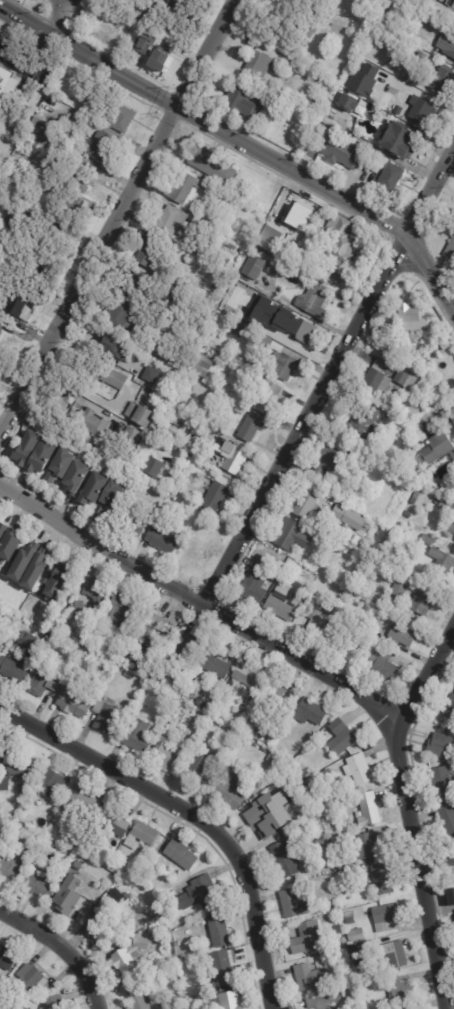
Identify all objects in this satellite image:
building: (177, 0)
building: (421, 0)
building: (376, 1)
building: (157, 14)
road: (56, 17)
building: (307, 25)
building: (445, 45)
building: (153, 48)
building: (421, 58)
building: (158, 61)
building: (258, 63)
building: (4, 78)
building: (363, 79)
building: (437, 79)
building: (330, 85)
building: (380, 91)
building: (245, 101)
building: (346, 102)
building: (299, 103)
building: (321, 103)
building: (359, 109)
building: (421, 110)
building: (120, 117)
building: (327, 122)
building: (41, 125)
building: (18, 132)
building: (398, 139)
road: (243, 142)
building: (45, 143)
building: (101, 146)
building: (339, 152)
building: (210, 164)
building: (388, 178)
building: (180, 186)
building: (80, 195)
building: (222, 204)
road: (116, 214)
building: (291, 216)
building: (213, 220)
building: (13, 221)
building: (168, 222)
building: (254, 234)
building: (183, 241)
building: (340, 241)
building: (196, 248)
building: (450, 249)
building: (147, 251)
building: (299, 266)
building: (252, 268)
building: (53, 270)
building: (322, 272)
building: (133, 284)
building: (17, 301)
building: (311, 301)
building: (283, 313)
building: (120, 315)
building: (410, 318)
building: (230, 322)
building: (1, 325)
building: (237, 329)
building: (298, 333)
building: (154, 342)
building: (262, 344)
building: (113, 347)
building: (403, 347)
building: (200, 366)
building: (281, 368)
building: (106, 375)
building: (150, 375)
road: (329, 376)
building: (376, 379)
building: (404, 380)
road: (82, 387)
building: (265, 394)
building: (132, 408)
building: (451, 415)
building: (140, 417)
building: (90, 423)
building: (363, 423)
building: (250, 427)
building: (405, 427)
building: (129, 438)
building: (401, 446)
building: (23, 448)
building: (435, 450)
building: (41, 455)
building: (452, 457)
building: (234, 459)
building: (331, 460)
building: (58, 465)
building: (153, 467)
building: (74, 477)
building: (145, 480)
building: (176, 482)
building: (91, 488)
building: (108, 496)
building: (214, 496)
building: (179, 501)
building: (443, 504)
building: (305, 506)
building: (407, 514)
building: (347, 517)
building: (131, 523)
building: (2, 527)
building: (449, 529)
building: (288, 535)
building: (427, 540)
building: (162, 541)
building: (7, 544)
building: (197, 556)
building: (441, 562)
building: (19, 563)
building: (33, 571)
building: (59, 579)
building: (253, 585)
building: (398, 590)
building: (95, 594)
road: (200, 602)
building: (281, 602)
building: (418, 605)
building: (74, 608)
building: (120, 609)
building: (94, 618)
building: (390, 618)
building: (317, 620)
building: (151, 626)
building: (355, 628)
building: (22, 630)
building: (98, 630)
building: (400, 637)
building: (335, 639)
building: (29, 641)
building: (91, 643)
building: (186, 646)
building: (77, 648)
building: (0, 650)
building: (84, 654)
building: (214, 664)
building: (381, 666)
building: (141, 669)
building: (11, 671)
building: (127, 676)
building: (246, 676)
building: (191, 681)
building: (43, 682)
building: (453, 687)
building: (453, 689)
building: (186, 690)
building: (272, 695)
building: (70, 704)
building: (449, 707)
building: (309, 714)
building: (103, 716)
building: (134, 736)
building: (340, 738)
building: (257, 739)
building: (255, 746)
building: (441, 748)
building: (263, 750)
building: (168, 751)
building: (2, 758)
building: (271, 758)
building: (195, 767)
building: (357, 770)
building: (20, 773)
building: (303, 774)
building: (440, 782)
building: (50, 785)
building: (228, 792)
building: (79, 803)
building: (367, 810)
road: (410, 811)
road: (193, 812)
building: (268, 815)
building: (446, 818)
building: (112, 822)
building: (20, 829)
building: (80, 833)
building: (140, 836)
building: (74, 844)
building: (319, 844)
building: (370, 847)
building: (179, 855)
building: (285, 857)
road: (436, 858)
building: (12, 865)
building: (80, 879)
building: (381, 879)
building: (36, 885)
building: (198, 895)
building: (118, 896)
building: (69, 903)
building: (291, 905)
building: (335, 908)
building: (161, 912)
building: (348, 918)
building: (385, 919)
building: (217, 932)
building: (95, 933)
building: (355, 936)
building: (306, 939)
building: (175, 945)
building: (343, 946)
road: (60, 948)
building: (351, 949)
building: (391, 954)
building: (127, 958)
building: (4, 961)
building: (169, 964)
building: (221, 969)
building: (308, 978)
building: (28, 979)
building: (397, 991)
building: (135, 997)
building: (322, 1001)
building: (226, 1002)
building: (53, 1003)
building: (407, 1008)

